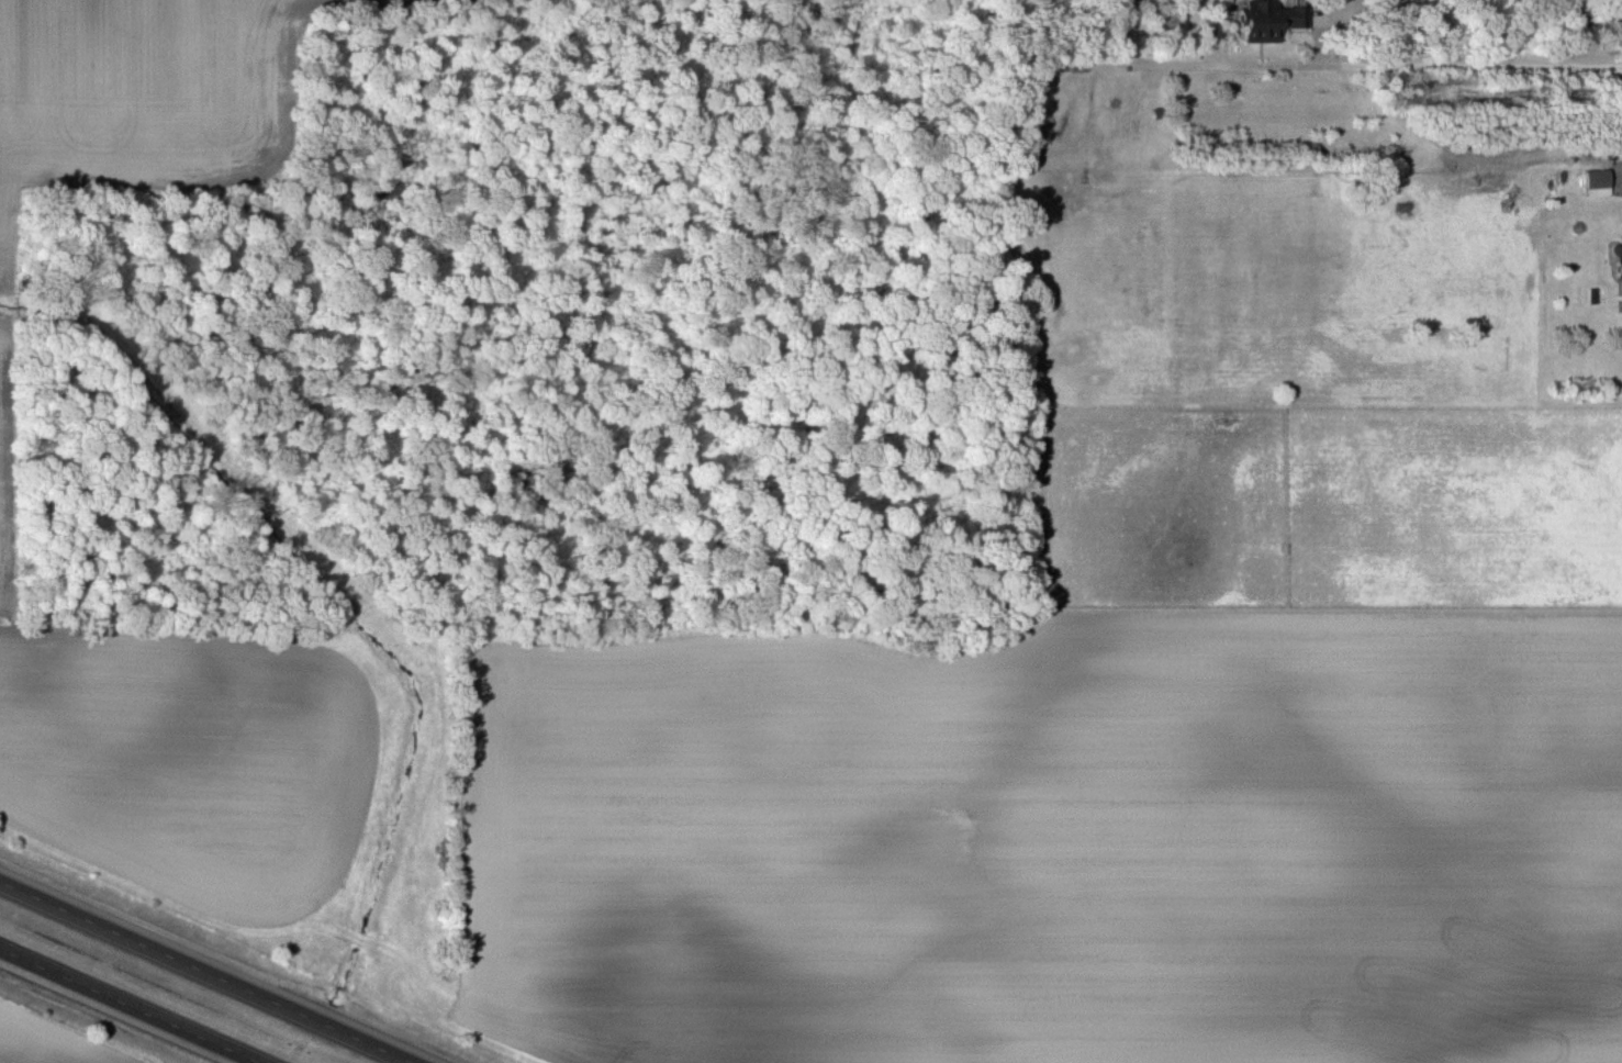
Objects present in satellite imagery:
building: (1269, 19)
road: (1320, 27)
road: (1417, 32)
road: (1413, 66)
building: (1598, 181)
building: (1619, 258)
road: (211, 971)
road: (127, 1006)

